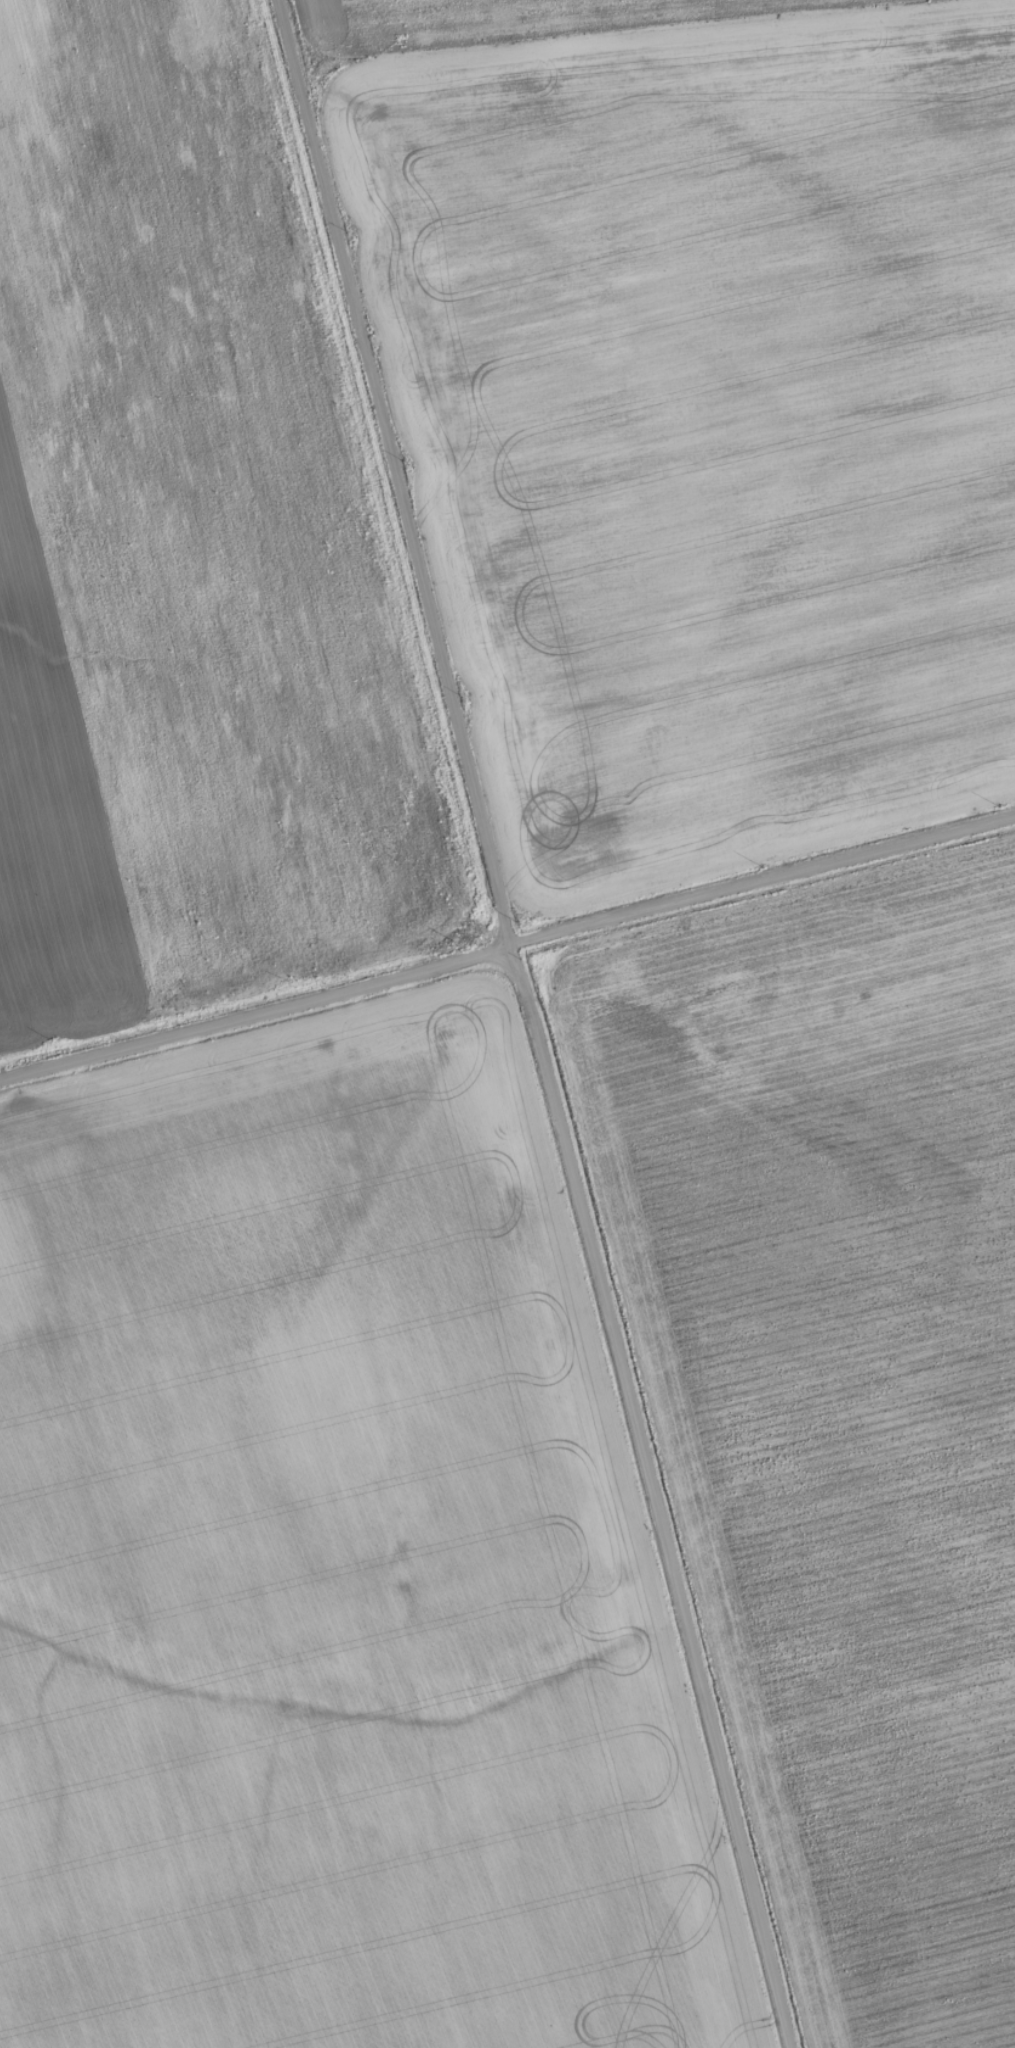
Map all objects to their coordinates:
road: (507, 940)
road: (531, 1024)

